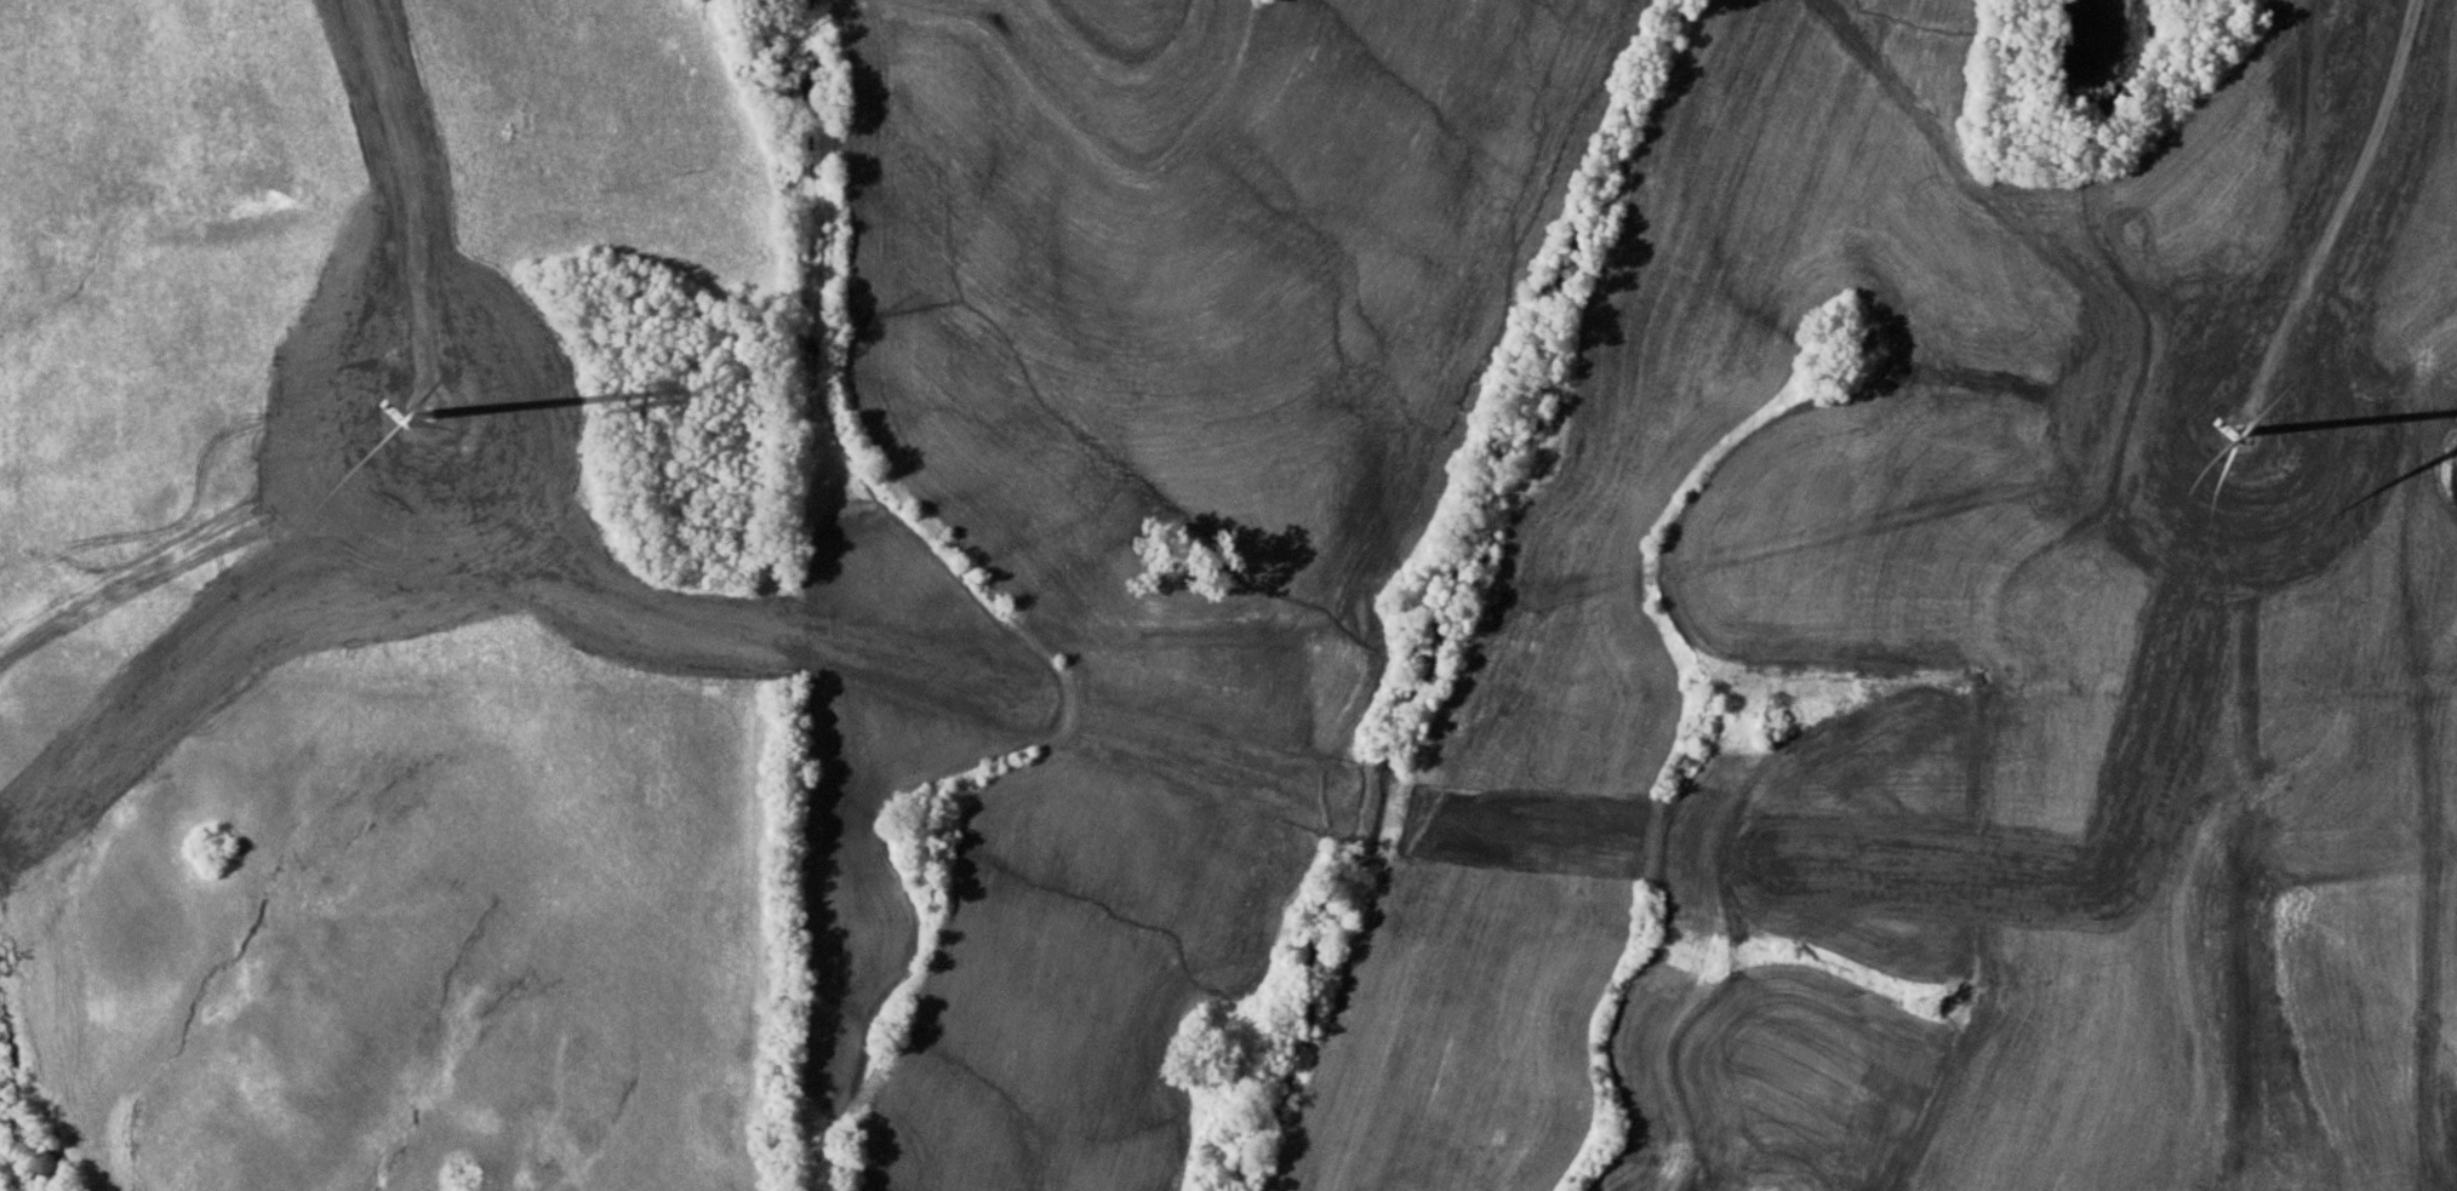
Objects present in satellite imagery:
wind turbine: (416, 411)
wind turbine: (2244, 435)

